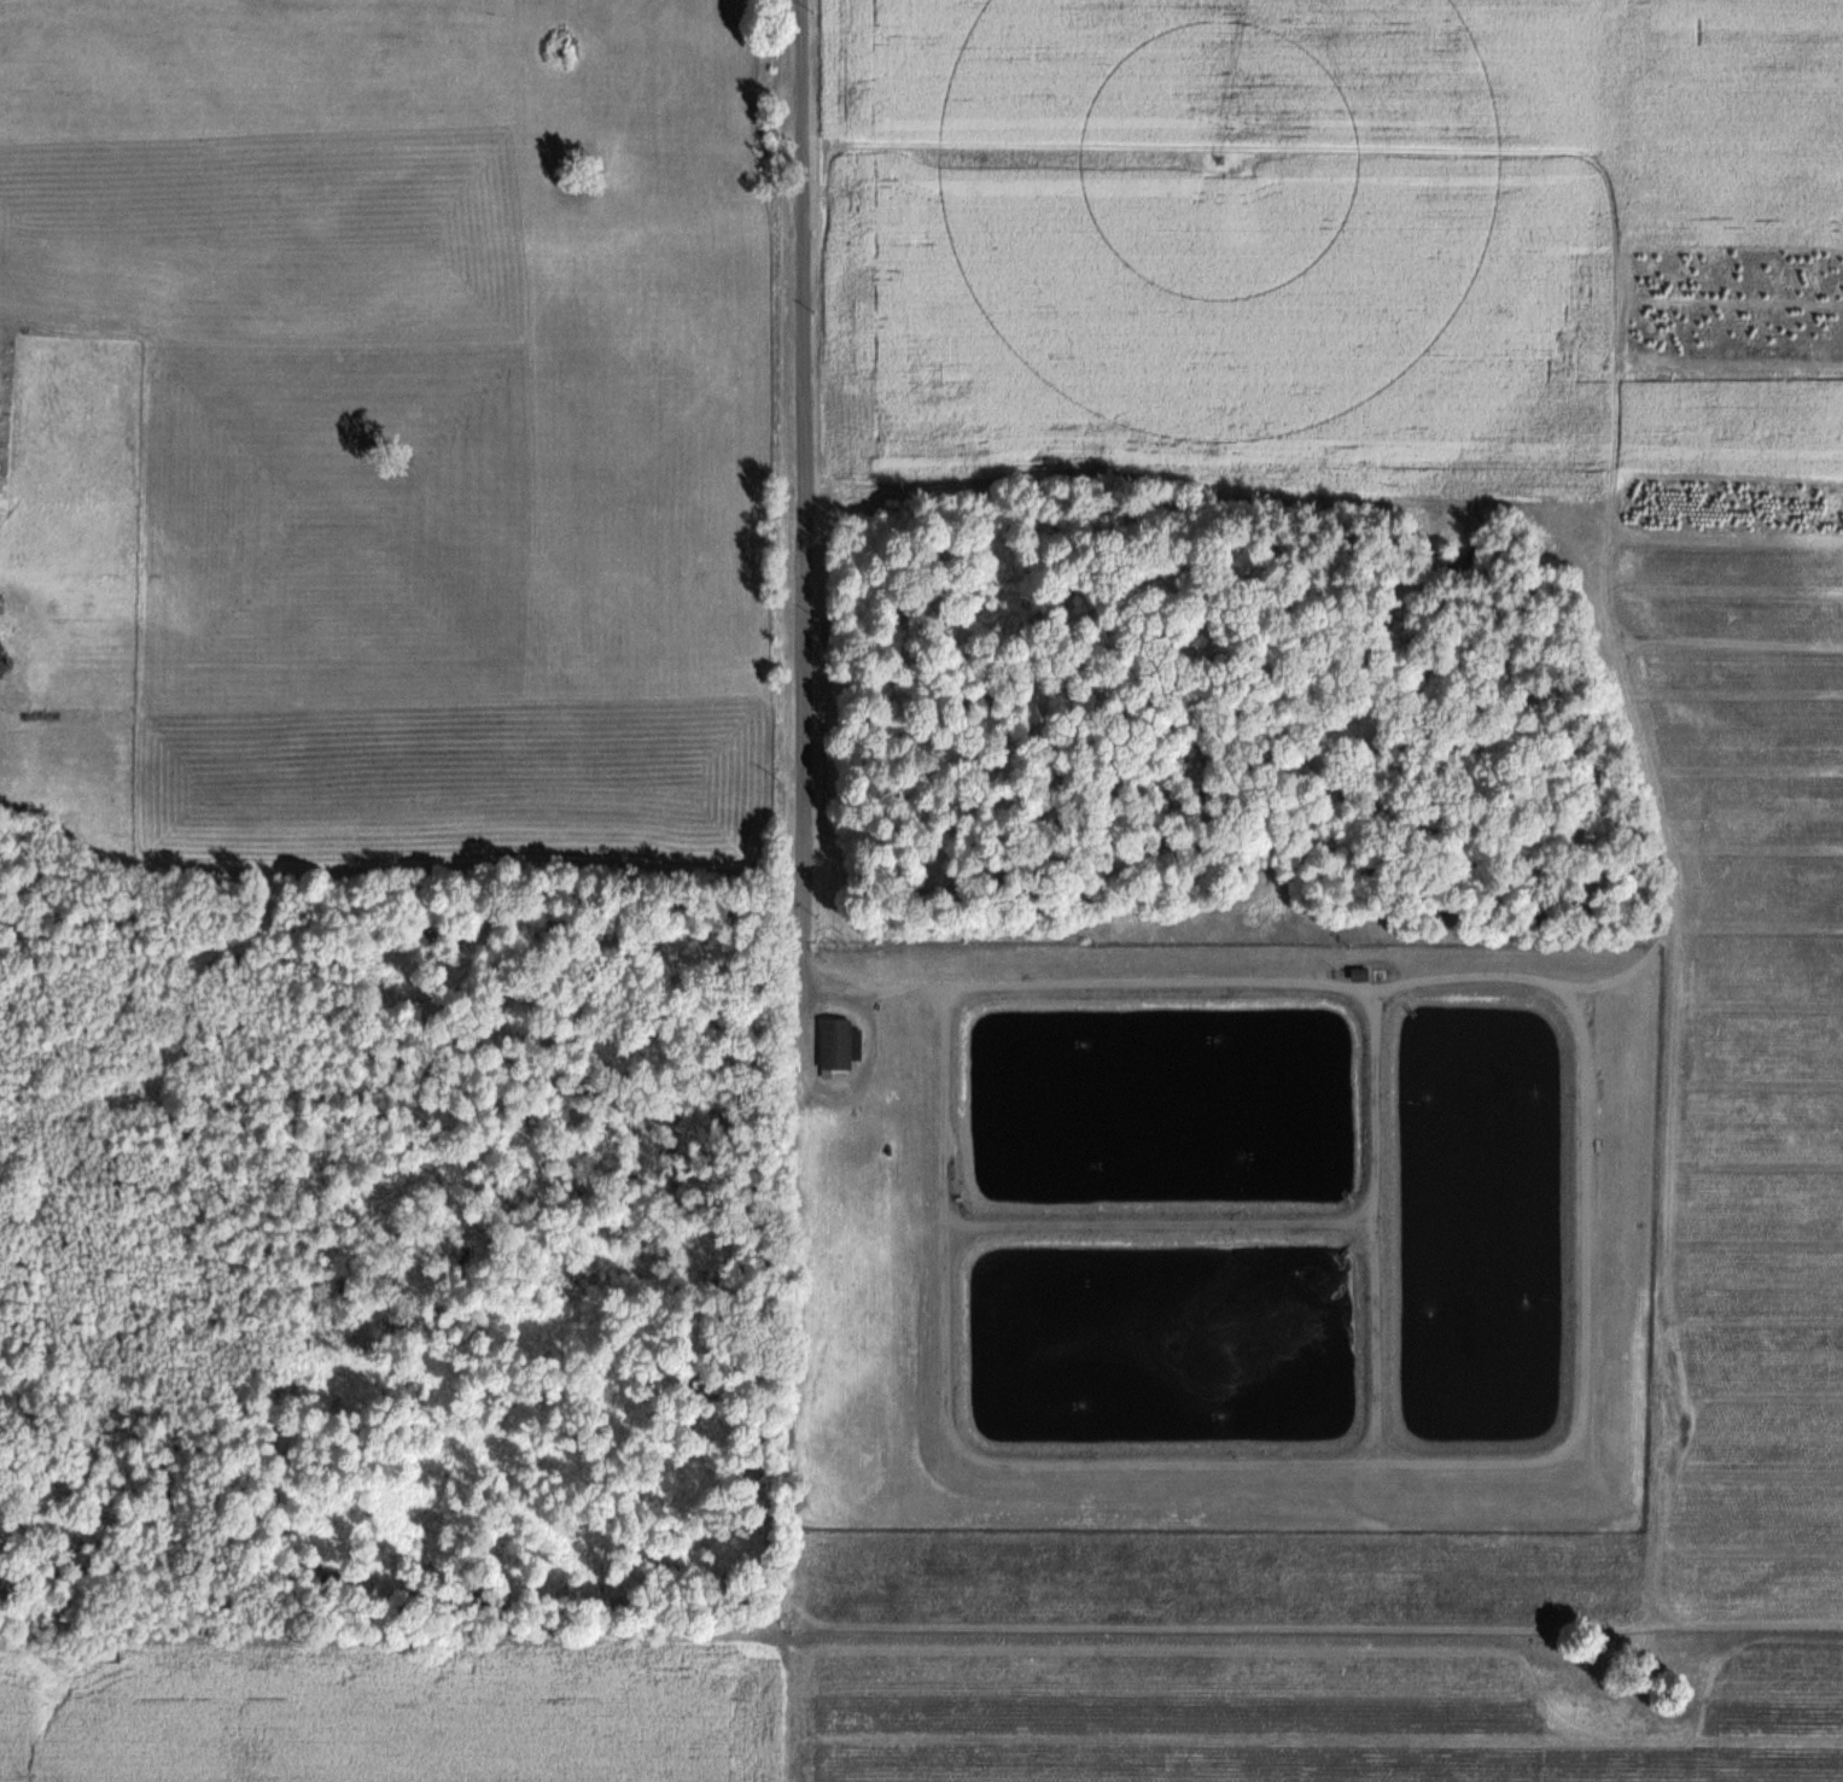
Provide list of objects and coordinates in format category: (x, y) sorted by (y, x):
road: (797, 497)
building: (835, 1042)
wastewater plant: (1223, 1232)

